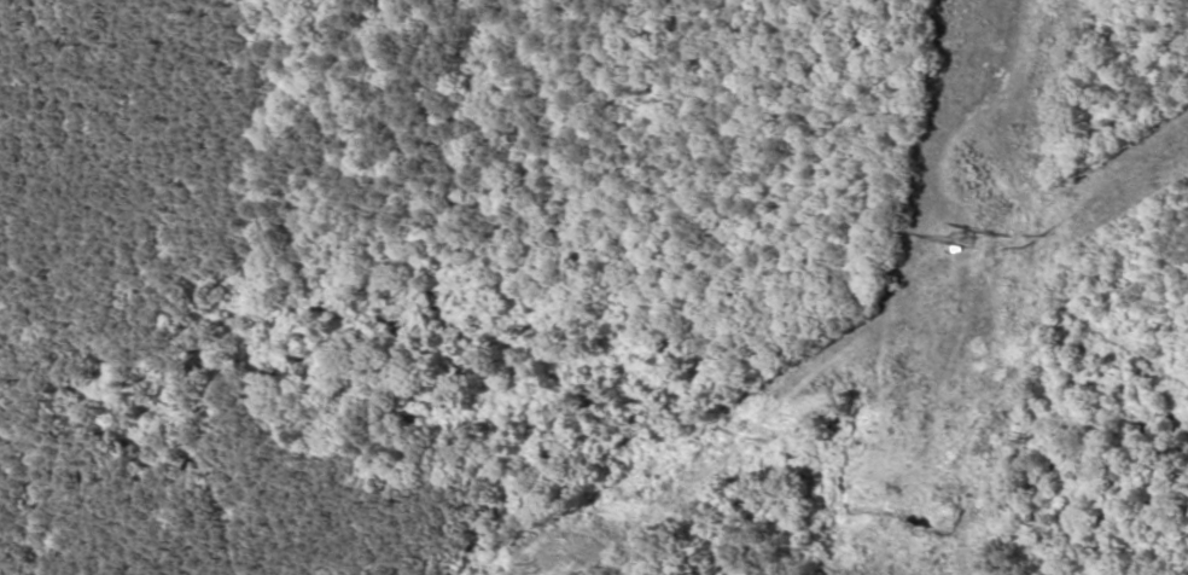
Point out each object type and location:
power tower: (973, 257)

